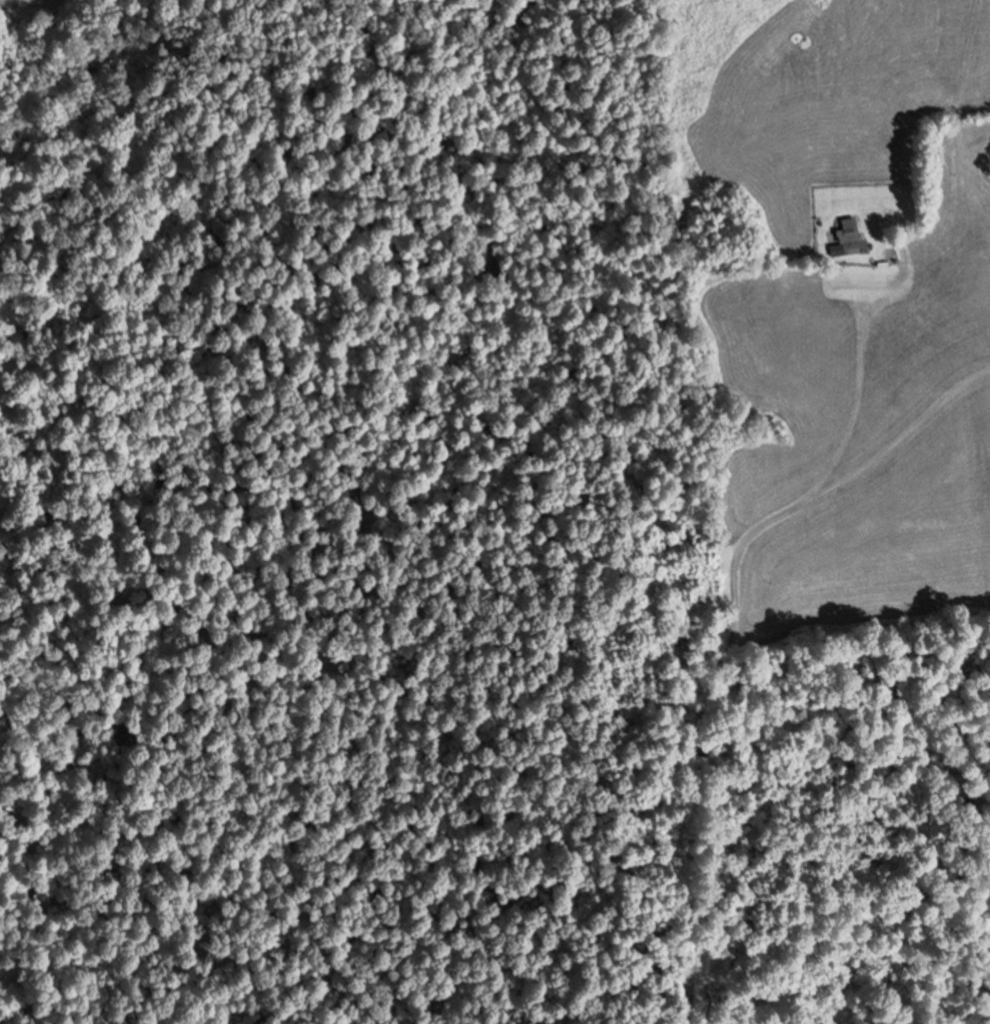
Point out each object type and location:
road: (707, 507)
road: (856, 640)

